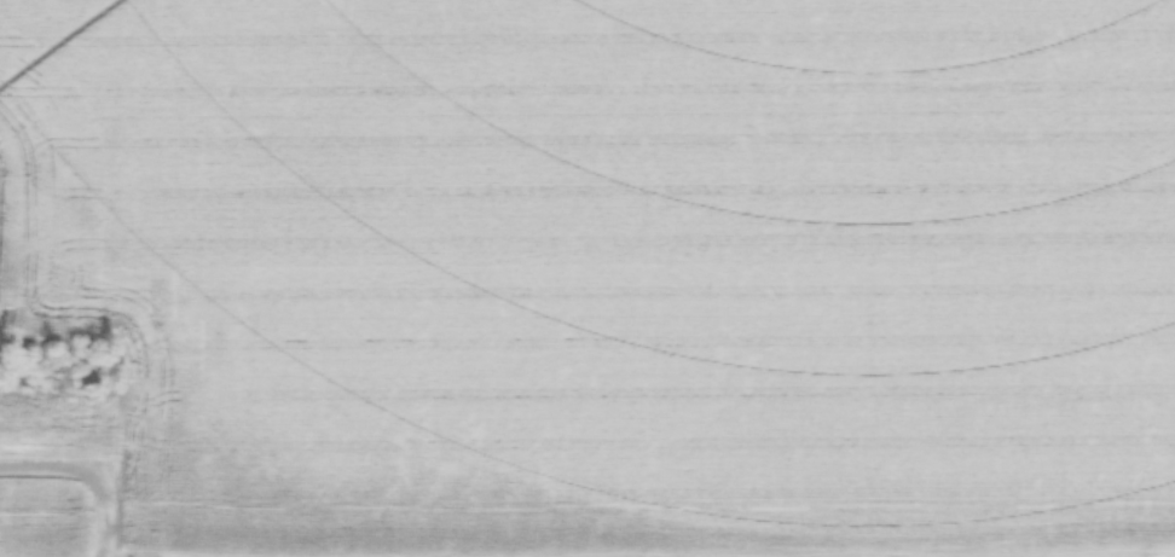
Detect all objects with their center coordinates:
building: (59, 99)
road: (82, 480)

